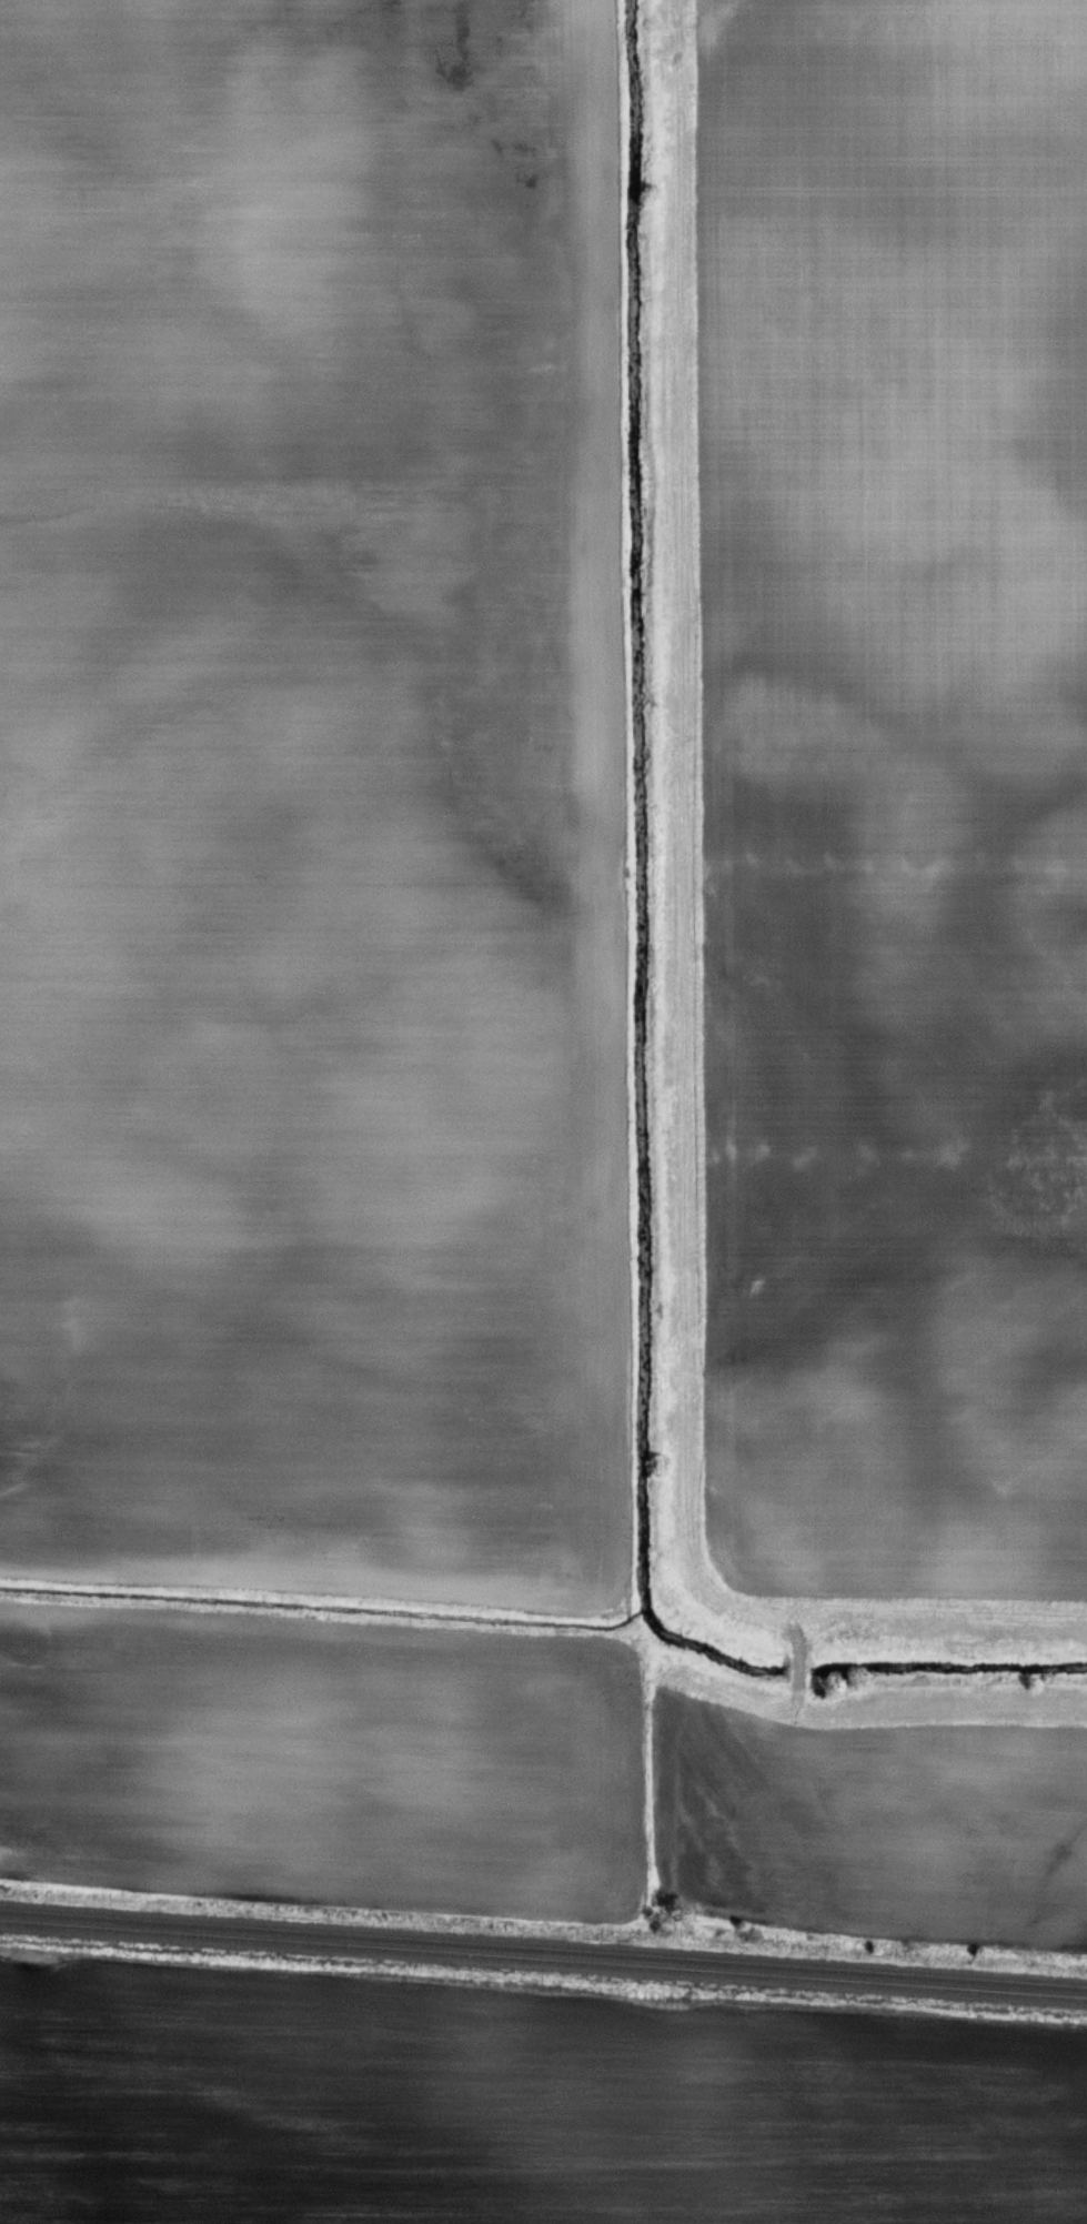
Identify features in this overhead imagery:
railway: (543, 1949)
railway: (543, 1958)

